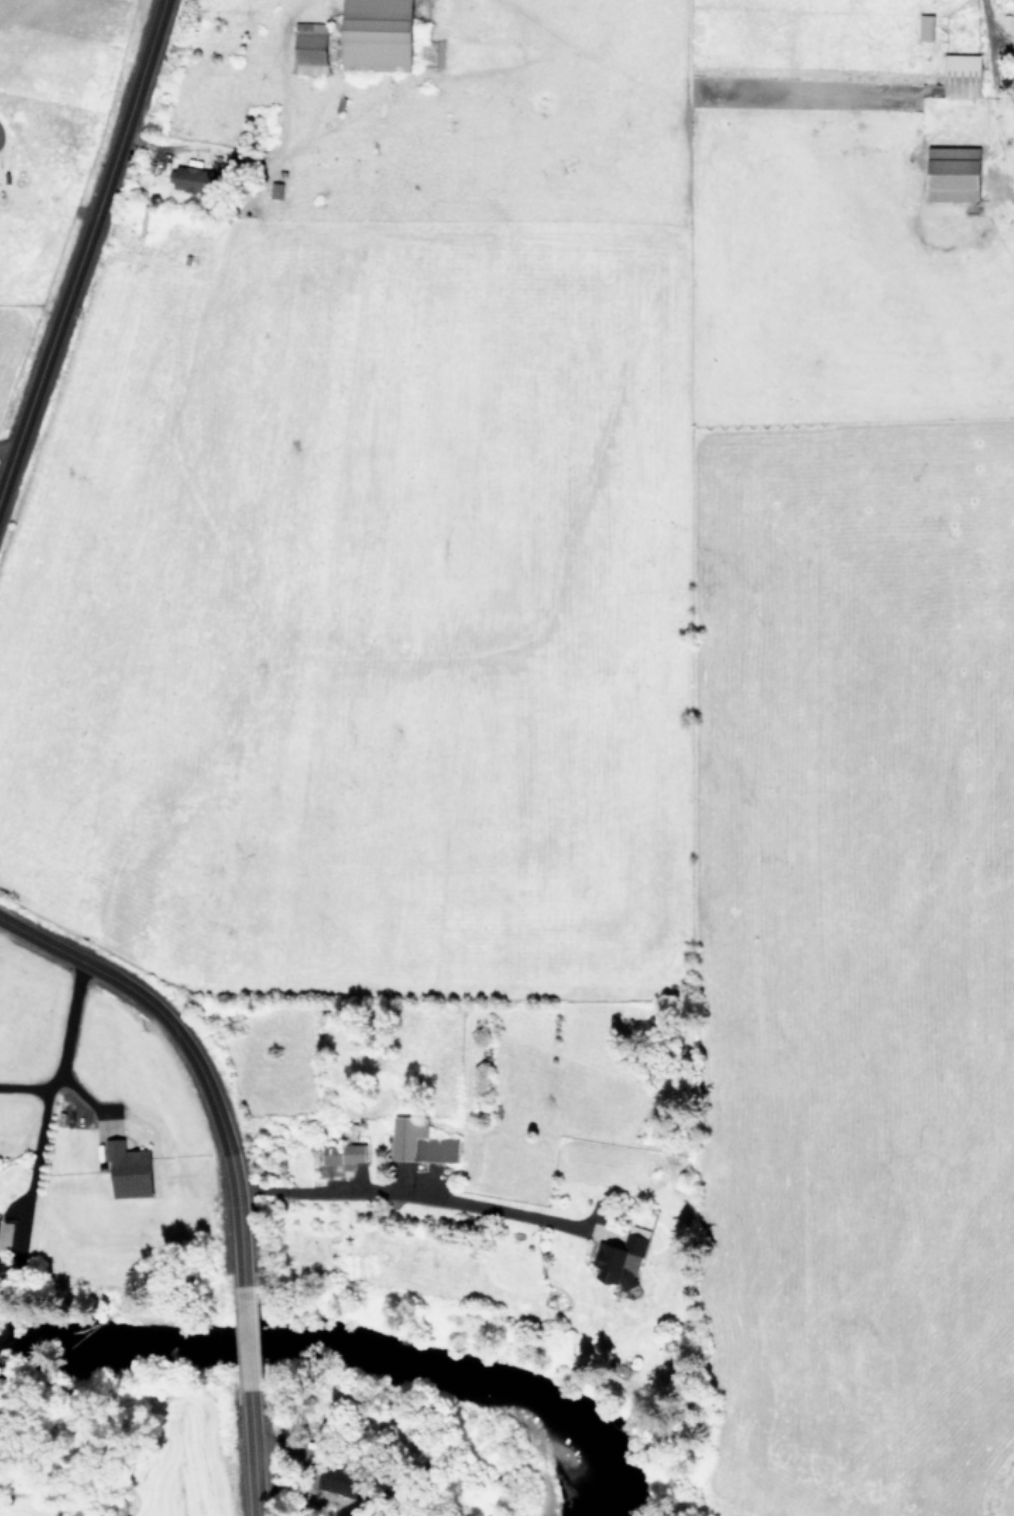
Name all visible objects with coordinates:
road: (989, 23)
building: (924, 27)
building: (373, 35)
building: (308, 48)
building: (960, 75)
crop: (33, 106)
building: (950, 173)
building: (187, 179)
road: (72, 225)
road: (0, 448)
crop: (577, 685)
road: (184, 1057)
road: (48, 1086)
road: (23, 1089)
crop: (82, 1125)
building: (418, 1141)
building: (341, 1152)
building: (126, 1170)
road: (409, 1192)
building: (620, 1257)
road: (240, 1341)
road: (244, 1458)
crop: (133, 1473)
building: (338, 1480)

